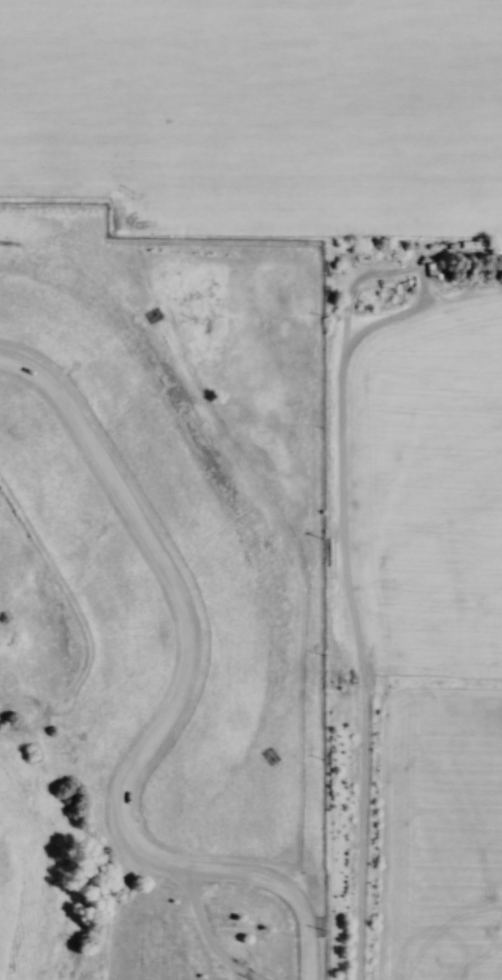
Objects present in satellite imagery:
crop: (422, 483)
road: (165, 716)
road: (366, 771)

